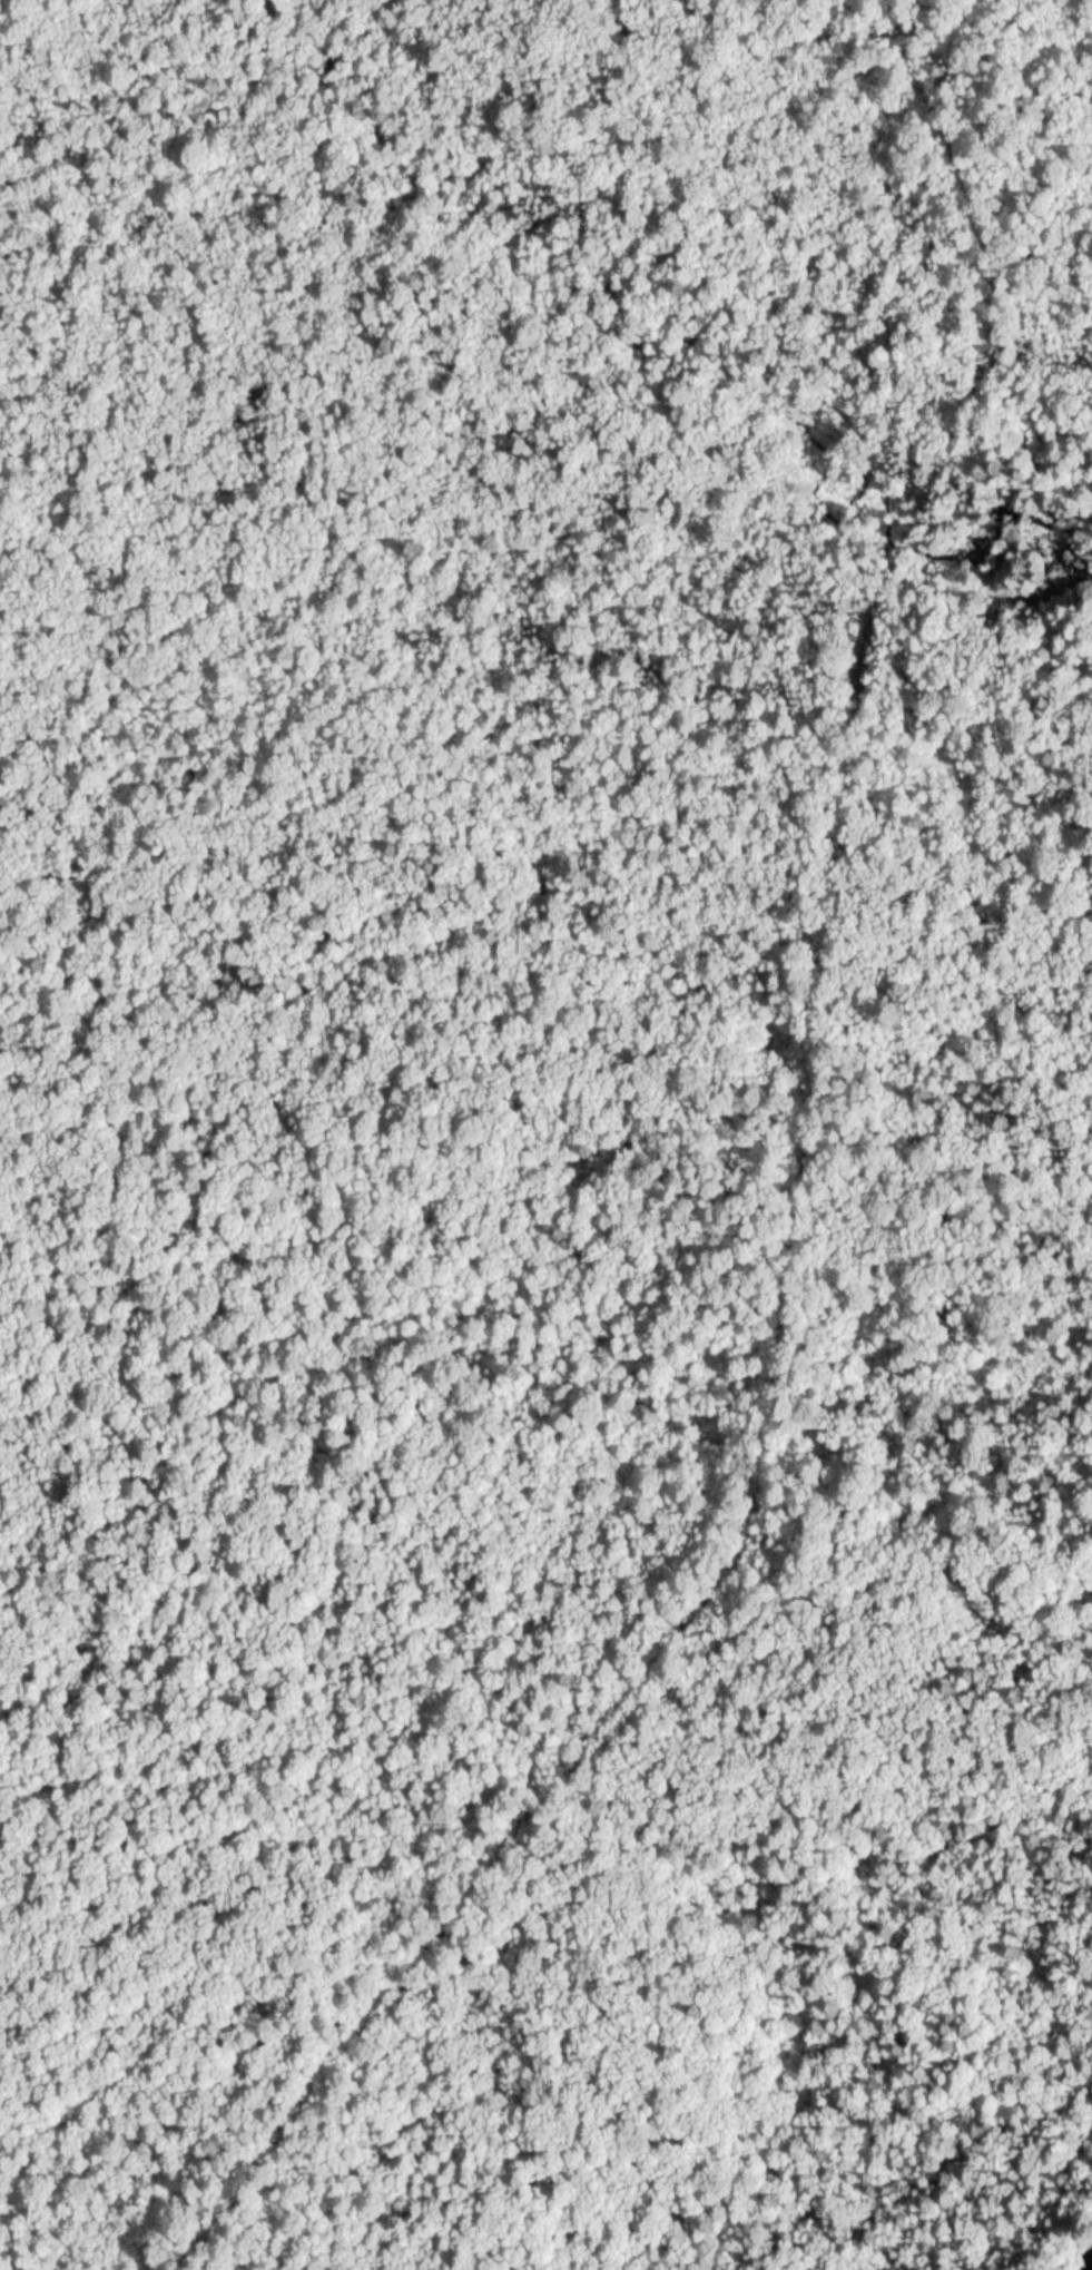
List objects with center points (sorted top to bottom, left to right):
road: (1047, 333)
road: (823, 1241)
road: (994, 2187)

